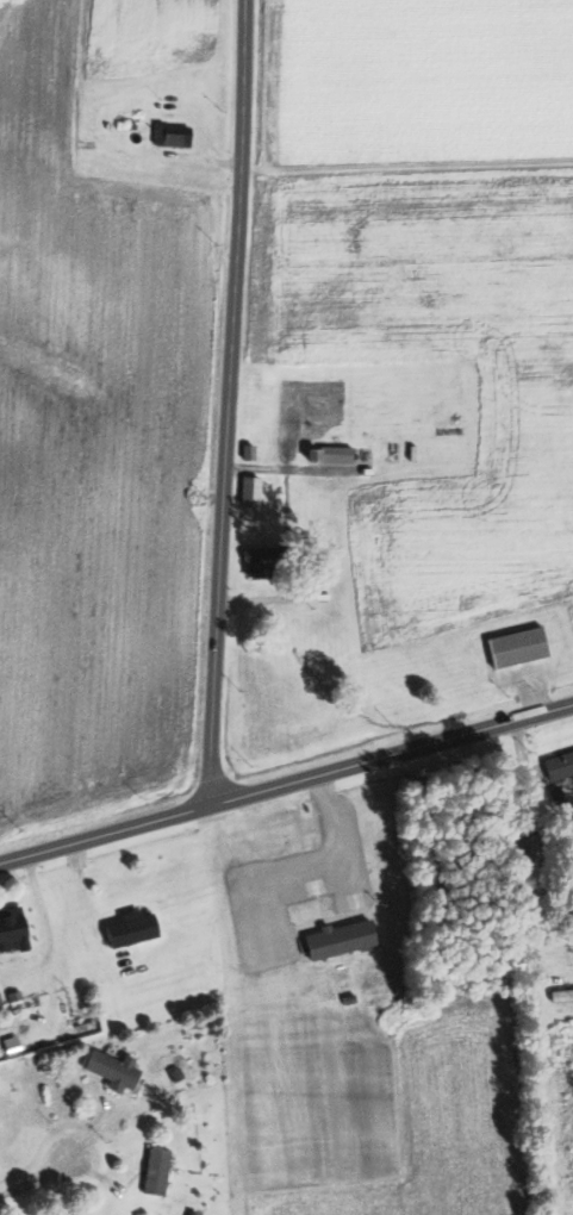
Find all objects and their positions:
building: (170, 136)
road: (217, 403)
building: (250, 451)
building: (332, 455)
building: (251, 491)
building: (260, 563)
building: (519, 647)
road: (390, 755)
building: (559, 766)
road: (102, 835)
building: (12, 924)
road: (49, 929)
building: (133, 929)
building: (342, 940)
building: (562, 993)
building: (116, 1068)
building: (157, 1170)
road: (37, 1176)

